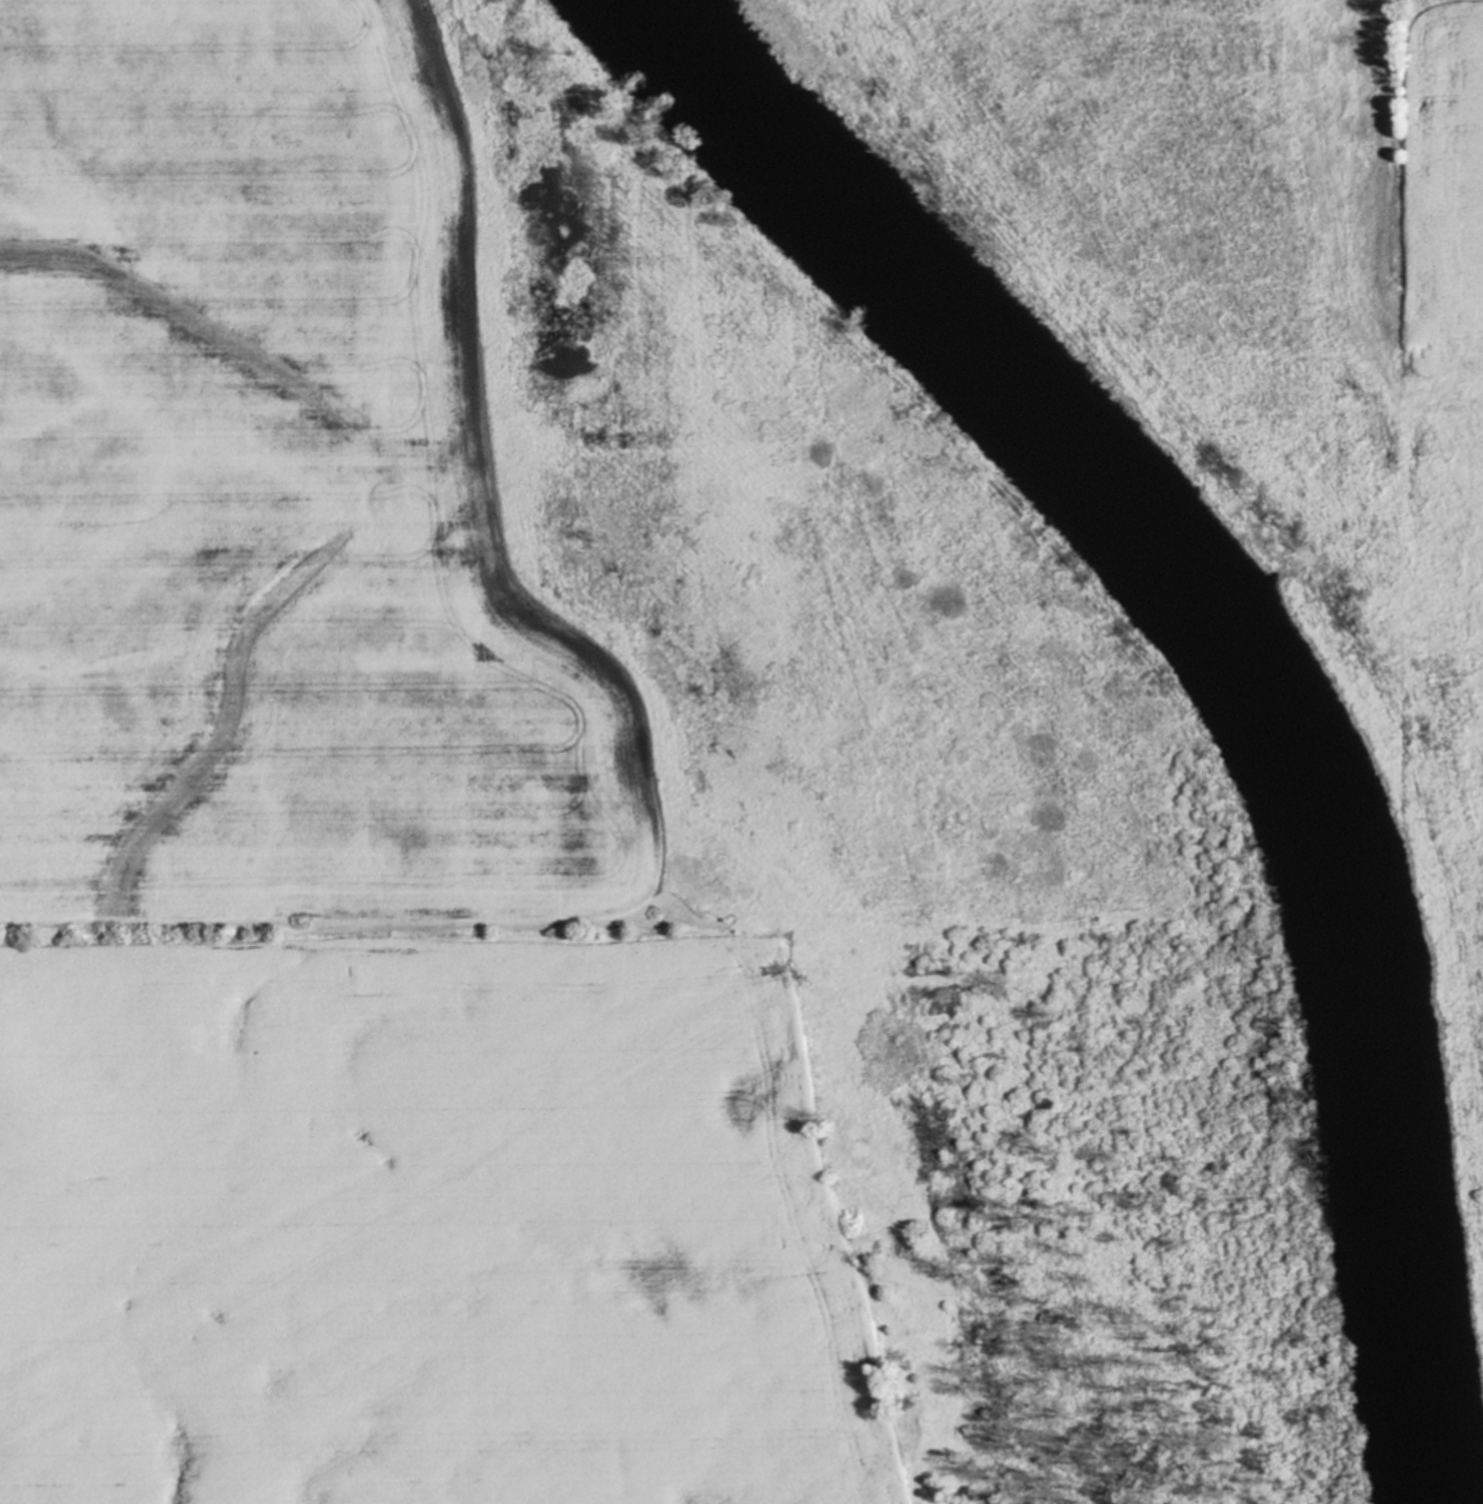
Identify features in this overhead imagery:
river: (1233, 648)

